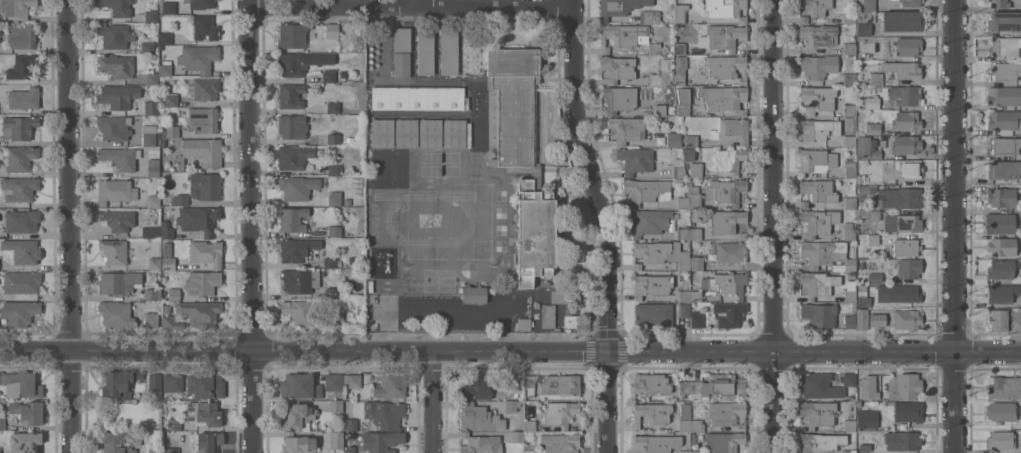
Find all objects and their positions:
road: (419, 2)
building: (200, 3)
building: (910, 3)
building: (999, 3)
road: (411, 5)
building: (869, 5)
building: (116, 6)
building: (816, 6)
building: (169, 7)
building: (619, 7)
building: (16, 8)
building: (726, 8)
building: (680, 11)
building: (151, 16)
building: (650, 16)
building: (849, 17)
building: (803, 18)
building: (902, 20)
building: (1004, 20)
building: (864, 23)
building: (204, 27)
building: (332, 30)
building: (819, 34)
building: (22, 35)
building: (115, 35)
building: (293, 35)
building: (626, 37)
building: (722, 37)
building: (165, 38)
building: (401, 39)
building: (908, 45)
building: (1004, 45)
building: (148, 47)
building: (680, 48)
building: (849, 48)
building: (425, 51)
building: (449, 51)
building: (198, 57)
building: (291, 64)
building: (401, 64)
building: (117, 65)
building: (819, 65)
building: (22, 66)
building: (165, 67)
building: (727, 67)
building: (618, 68)
building: (902, 69)
building: (680, 70)
building: (1005, 70)
building: (662, 73)
building: (328, 76)
building: (152, 78)
building: (849, 78)
building: (875, 78)
building: (203, 87)
building: (118, 95)
building: (291, 95)
building: (904, 95)
building: (1003, 95)
building: (418, 97)
building: (724, 97)
building: (859, 97)
building: (24, 98)
building: (618, 98)
building: (171, 100)
building: (683, 101)
building: (824, 101)
building: (871, 102)
building: (514, 105)
building: (151, 107)
building: (333, 107)
building: (659, 109)
building: (671, 109)
building: (202, 119)
building: (906, 120)
building: (1004, 121)
building: (292, 126)
building: (19, 127)
building: (114, 127)
building: (873, 128)
building: (627, 129)
building: (818, 129)
building: (734, 130)
building: (172, 131)
building: (382, 133)
building: (406, 133)
building: (430, 133)
building: (454, 133)
building: (149, 135)
building: (333, 138)
building: (674, 139)
building: (690, 140)
building: (849, 140)
building: (906, 144)
building: (1005, 145)
building: (866, 148)
building: (202, 151)
building: (688, 153)
building: (293, 156)
building: (120, 157)
building: (491, 157)
building: (19, 158)
building: (635, 159)
building: (730, 160)
building: (816, 160)
building: (686, 166)
building: (153, 167)
building: (678, 167)
building: (382, 168)
building: (399, 168)
building: (850, 168)
building: (908, 168)
building: (334, 169)
building: (696, 169)
building: (1004, 169)
building: (536, 177)
building: (860, 179)
building: (205, 185)
building: (298, 186)
building: (19, 188)
building: (115, 190)
building: (646, 190)
building: (818, 190)
building: (718, 192)
building: (1002, 196)
building: (900, 197)
building: (334, 198)
building: (180, 199)
building: (153, 201)
building: (683, 202)
building: (850, 202)
building: (803, 204)
building: (868, 213)
building: (118, 219)
building: (198, 219)
building: (293, 219)
building: (22, 221)
building: (650, 221)
building: (819, 221)
building: (728, 222)
building: (1000, 222)
building: (908, 223)
road: (603, 225)
road: (71, 226)
road: (251, 226)
road: (778, 226)
road: (953, 226)
building: (166, 230)
building: (148, 231)
building: (334, 231)
building: (848, 231)
building: (535, 233)
building: (684, 233)
building: (696, 233)
building: (873, 238)
building: (1002, 246)
building: (906, 247)
building: (297, 249)
building: (23, 250)
building: (113, 251)
building: (206, 252)
building: (731, 252)
building: (822, 252)
building: (660, 253)
building: (167, 257)
building: (329, 262)
building: (155, 263)
building: (697, 263)
building: (849, 263)
building: (862, 265)
building: (908, 267)
building: (1002, 268)
building: (875, 277)
building: (300, 280)
building: (21, 281)
building: (119, 282)
building: (202, 282)
building: (726, 283)
building: (657, 284)
building: (816, 284)
building: (850, 290)
building: (332, 292)
building: (898, 293)
building: (1001, 293)
building: (152, 294)
building: (174, 294)
building: (474, 294)
building: (684, 295)
building: (696, 295)
building: (862, 295)
building: (565, 296)
building: (300, 310)
building: (19, 312)
building: (201, 312)
building: (659, 313)
building: (729, 313)
building: (116, 314)
building: (819, 314)
building: (548, 315)
building: (336, 317)
building: (862, 318)
building: (151, 319)
building: (697, 319)
building: (907, 319)
building: (998, 319)
building: (849, 320)
building: (877, 320)
building: (571, 321)
building: (171, 322)
building: (524, 323)
road: (510, 349)
building: (849, 379)
building: (352, 380)
building: (516, 380)
building: (155, 382)
building: (333, 382)
building: (118, 383)
building: (173, 383)
building: (651, 383)
building: (22, 384)
building: (206, 384)
building: (391, 384)
building: (529, 384)
building: (560, 384)
building: (719, 384)
building: (818, 385)
building: (300, 386)
building: (685, 386)
building: (868, 386)
building: (907, 386)
building: (1003, 386)
building: (478, 388)
building: (336, 395)
road: (432, 401)
building: (336, 405)
building: (512, 406)
building: (28, 411)
building: (908, 411)
building: (1001, 411)
building: (817, 412)
building: (204, 413)
building: (559, 413)
building: (651, 413)
building: (727, 413)
building: (384, 414)
building: (298, 416)
building: (479, 417)
building: (684, 417)
building: (867, 418)
building: (2, 421)
building: (174, 424)
building: (351, 424)
building: (849, 424)
building: (530, 425)
building: (697, 425)
building: (352, 434)
building: (517, 436)
building: (336, 439)
building: (902, 440)
building: (1003, 440)
building: (120, 441)
building: (381, 441)
building: (724, 441)
building: (821, 441)
building: (26, 442)
building: (209, 442)
building: (560, 442)
building: (299, 443)
building: (655, 443)
building: (480, 444)
building: (865, 446)
building: (1, 447)
building: (350, 449)
building: (154, 450)
building: (171, 450)
building: (530, 451)
building: (685, 451)
building: (696, 451)
building: (848, 451)

